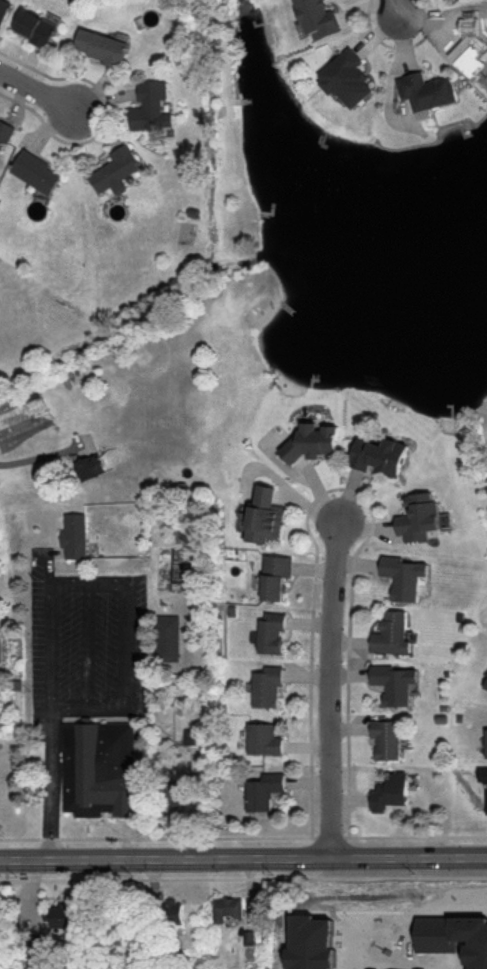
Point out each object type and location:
road: (396, 8)
building: (4, 10)
building: (317, 17)
building: (38, 27)
building: (102, 46)
building: (470, 56)
building: (347, 75)
building: (427, 88)
road: (36, 90)
building: (153, 107)
building: (5, 134)
building: (118, 170)
building: (39, 171)
building: (316, 442)
building: (382, 457)
building: (91, 467)
building: (268, 516)
building: (422, 518)
building: (77, 537)
building: (279, 578)
building: (407, 578)
road: (87, 585)
building: (273, 633)
building: (393, 633)
road: (89, 647)
road: (127, 647)
building: (395, 683)
building: (269, 687)
road: (330, 691)
road: (88, 710)
road: (49, 719)
building: (265, 739)
building: (388, 740)
building: (101, 768)
building: (483, 775)
building: (264, 792)
building: (392, 792)
building: (177, 797)
road: (243, 837)
road: (243, 859)
road: (243, 878)
building: (228, 909)
building: (173, 911)
building: (63, 915)
building: (391, 939)

